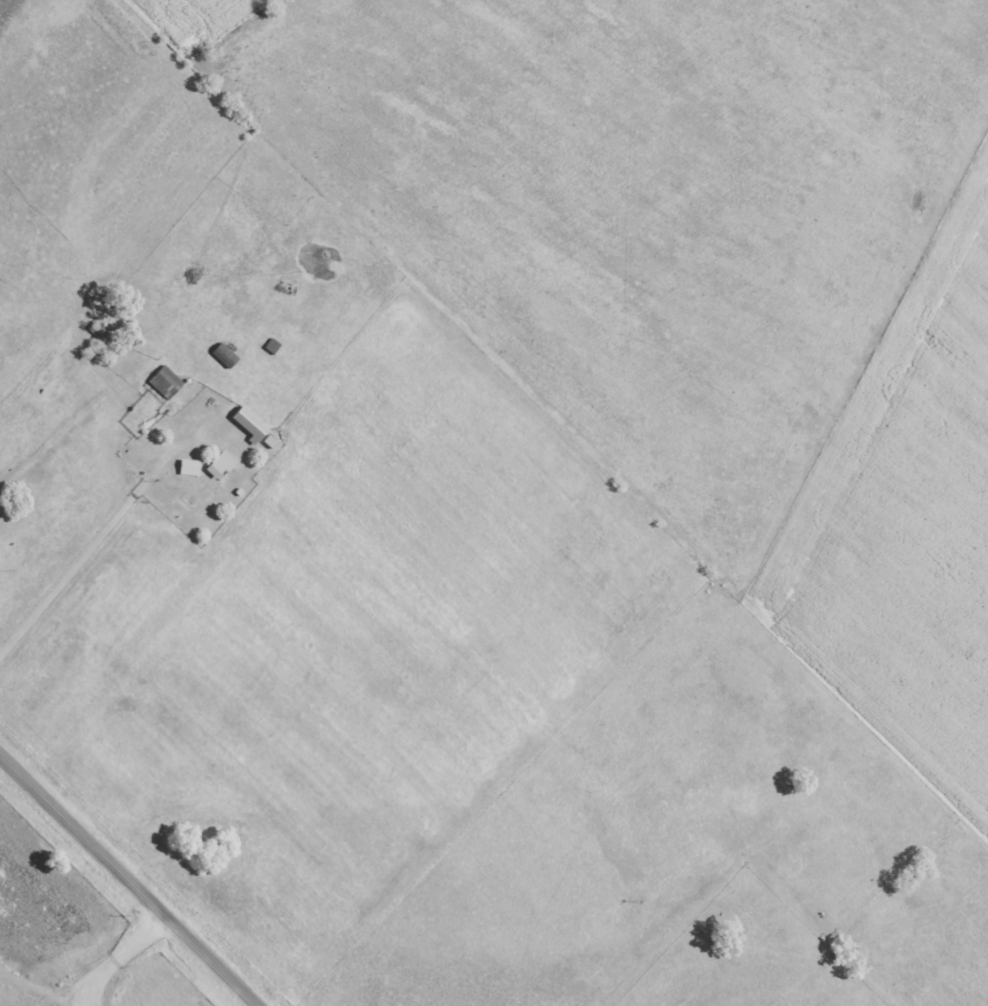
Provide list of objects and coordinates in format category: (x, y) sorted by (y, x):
building: (221, 356)
building: (163, 383)
building: (244, 420)
building: (186, 467)
road: (129, 880)

